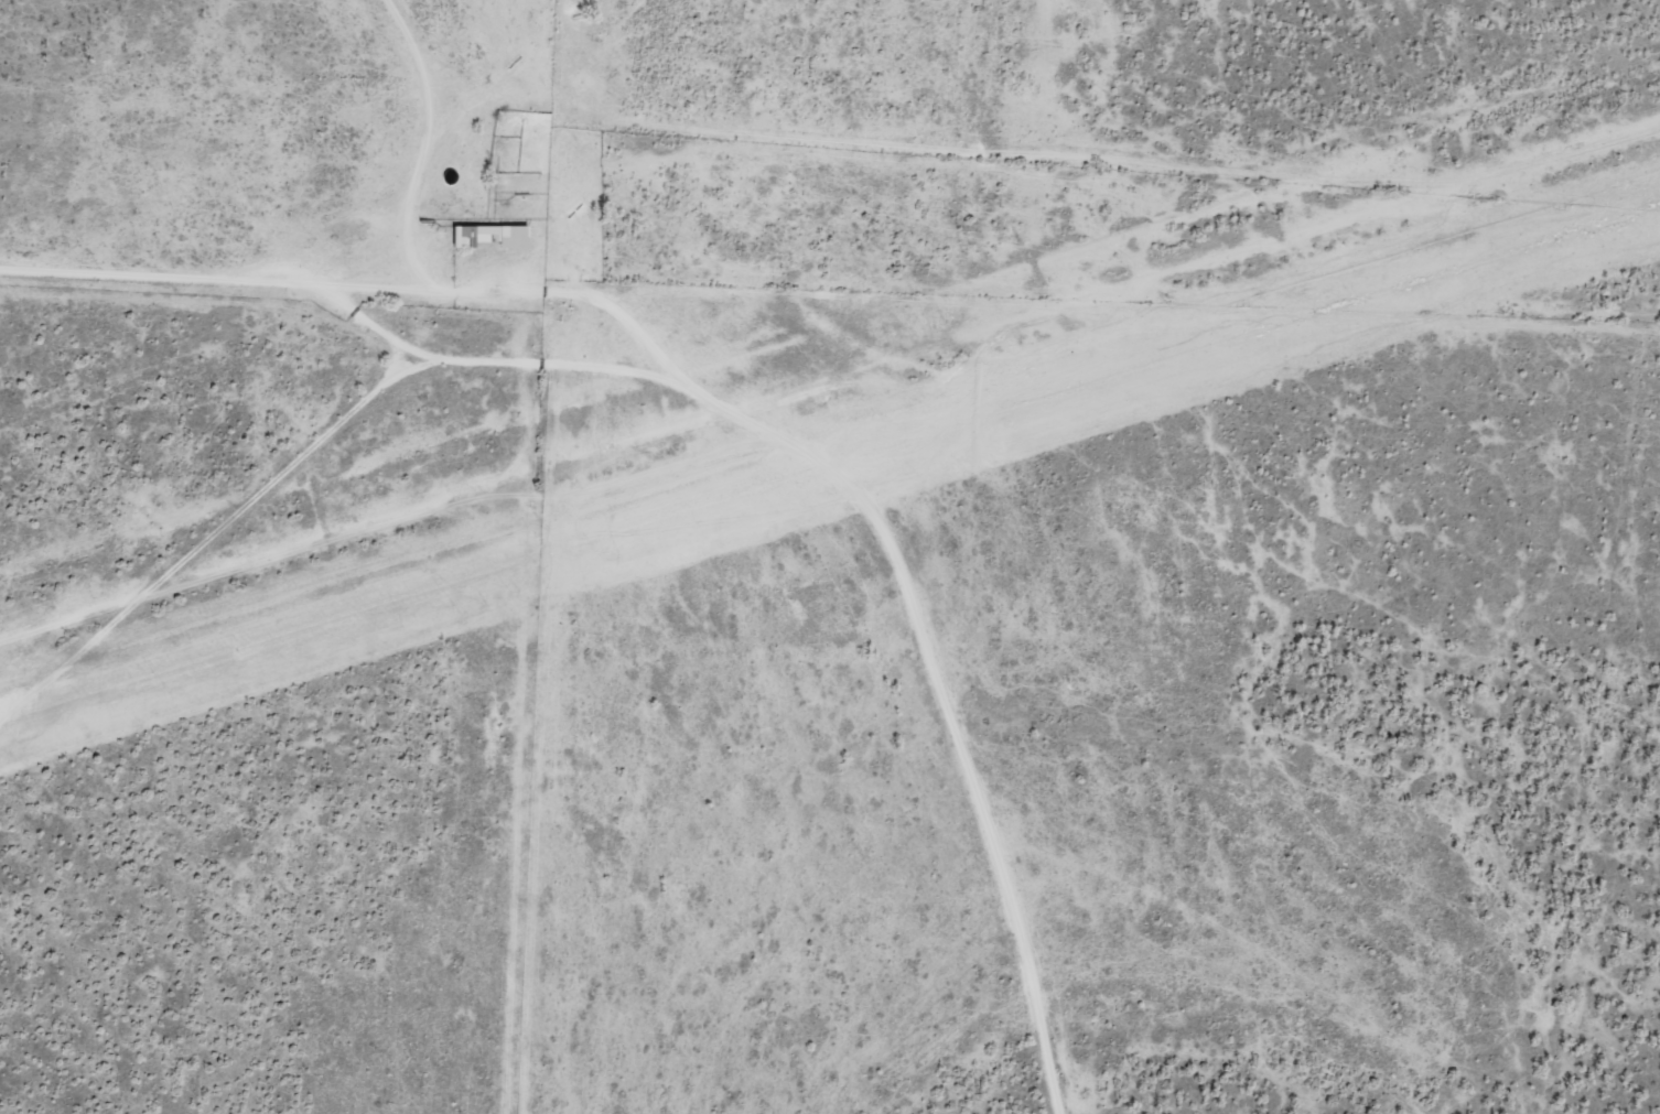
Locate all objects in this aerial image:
road: (574, 119)
building: (491, 236)
road: (168, 272)
road: (669, 368)

